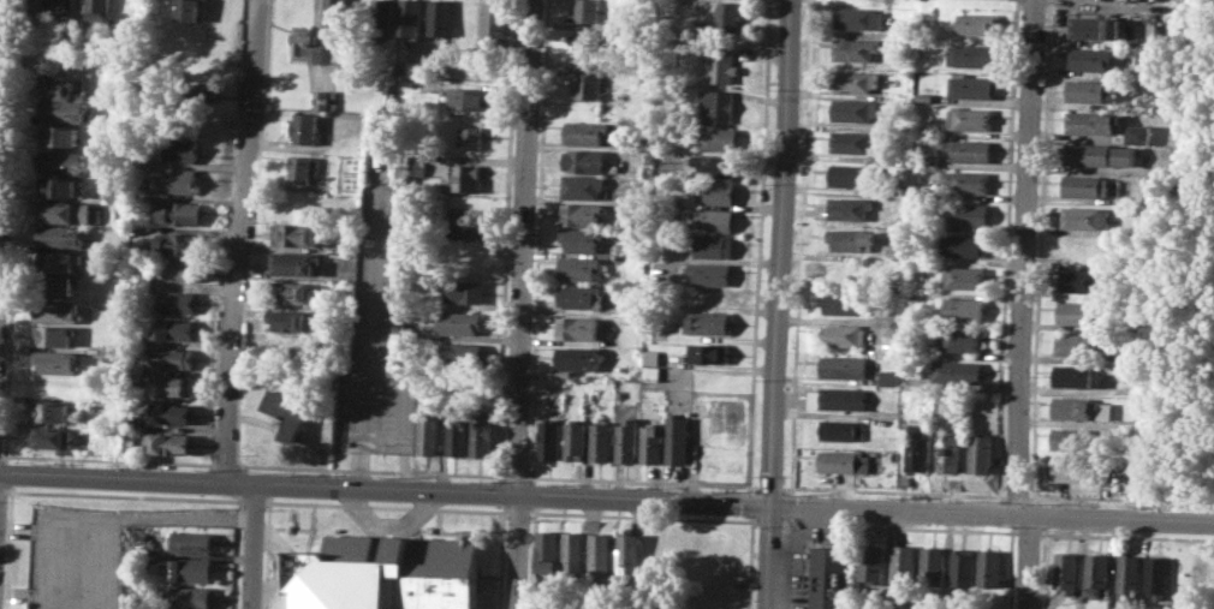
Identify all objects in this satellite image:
road: (1133, 1)
building: (38, 7)
building: (61, 10)
building: (96, 10)
building: (127, 10)
building: (188, 10)
building: (587, 11)
building: (381, 13)
building: (728, 17)
building: (859, 17)
building: (335, 18)
building: (410, 18)
building: (440, 18)
building: (494, 20)
building: (977, 22)
building: (1094, 28)
building: (584, 41)
building: (307, 44)
building: (856, 48)
building: (976, 56)
building: (1090, 58)
building: (721, 65)
building: (413, 68)
building: (856, 79)
building: (588, 82)
building: (974, 85)
building: (58, 88)
building: (210, 90)
building: (1090, 90)
building: (927, 96)
building: (470, 97)
building: (327, 98)
building: (715, 106)
building: (856, 109)
building: (65, 111)
road: (5, 112)
building: (974, 119)
building: (1090, 121)
building: (305, 127)
building: (939, 127)
building: (585, 132)
building: (1137, 133)
building: (61, 135)
building: (470, 137)
building: (714, 137)
building: (851, 141)
building: (184, 148)
building: (969, 149)
building: (1100, 154)
building: (587, 160)
building: (64, 162)
building: (716, 165)
building: (302, 168)
building: (851, 175)
building: (468, 178)
building: (180, 180)
building: (968, 180)
building: (582, 185)
building: (1087, 185)
building: (58, 186)
building: (715, 192)
building: (851, 207)
building: (65, 211)
building: (180, 213)
building: (582, 214)
building: (971, 214)
building: (1085, 217)
building: (713, 219)
building: (469, 226)
building: (297, 233)
building: (60, 237)
building: (853, 238)
building: (582, 239)
road: (244, 240)
building: (180, 244)
building: (714, 245)
building: (966, 245)
road: (758, 246)
road: (780, 252)
road: (1025, 258)
building: (59, 261)
building: (294, 262)
building: (579, 267)
building: (841, 269)
building: (181, 270)
building: (712, 273)
building: (922, 276)
building: (969, 276)
building: (1083, 280)
building: (54, 286)
building: (920, 288)
building: (462, 289)
building: (292, 291)
building: (709, 295)
building: (581, 297)
building: (177, 301)
building: (851, 301)
road: (524, 304)
building: (968, 309)
building: (58, 311)
building: (1082, 311)
building: (292, 320)
building: (710, 321)
building: (458, 322)
building: (894, 324)
building: (577, 328)
building: (173, 329)
building: (54, 335)
road: (367, 335)
building: (846, 335)
building: (966, 340)
parking lot: (374, 341)
building: (1085, 342)
building: (113, 352)
building: (710, 352)
building: (462, 353)
building: (172, 356)
building: (1126, 356)
building: (576, 357)
building: (650, 357)
building: (55, 360)
building: (847, 366)
building: (962, 371)
building: (650, 374)
building: (1076, 376)
building: (892, 377)
building: (178, 387)
building: (839, 396)
building: (1084, 407)
building: (49, 411)
building: (287, 412)
building: (172, 413)
building: (135, 426)
building: (844, 430)
building: (427, 431)
building: (456, 431)
building: (481, 431)
building: (50, 437)
building: (549, 438)
building: (678, 438)
building: (1079, 438)
building: (575, 440)
building: (626, 440)
building: (600, 441)
building: (167, 443)
building: (651, 444)
building: (920, 446)
building: (951, 452)
building: (982, 453)
building: (845, 460)
building: (1079, 468)
road: (385, 489)
road: (751, 502)
road: (992, 515)
road: (177, 517)
road: (388, 527)
road: (26, 529)
building: (191, 542)
road: (53, 547)
road: (252, 547)
building: (547, 550)
building: (573, 551)
building: (601, 553)
building: (629, 553)
building: (138, 556)
road: (769, 556)
parking lot: (76, 557)
road: (750, 561)
building: (904, 561)
road: (1033, 562)
road: (280, 563)
building: (871, 563)
building: (933, 565)
building: (963, 567)
building: (989, 567)
road: (101, 568)
building: (191, 569)
building: (1066, 571)
building: (387, 573)
building: (1096, 573)
building: (829, 574)
building: (1127, 574)
building: (1158, 574)
road: (25, 595)
building: (190, 597)

